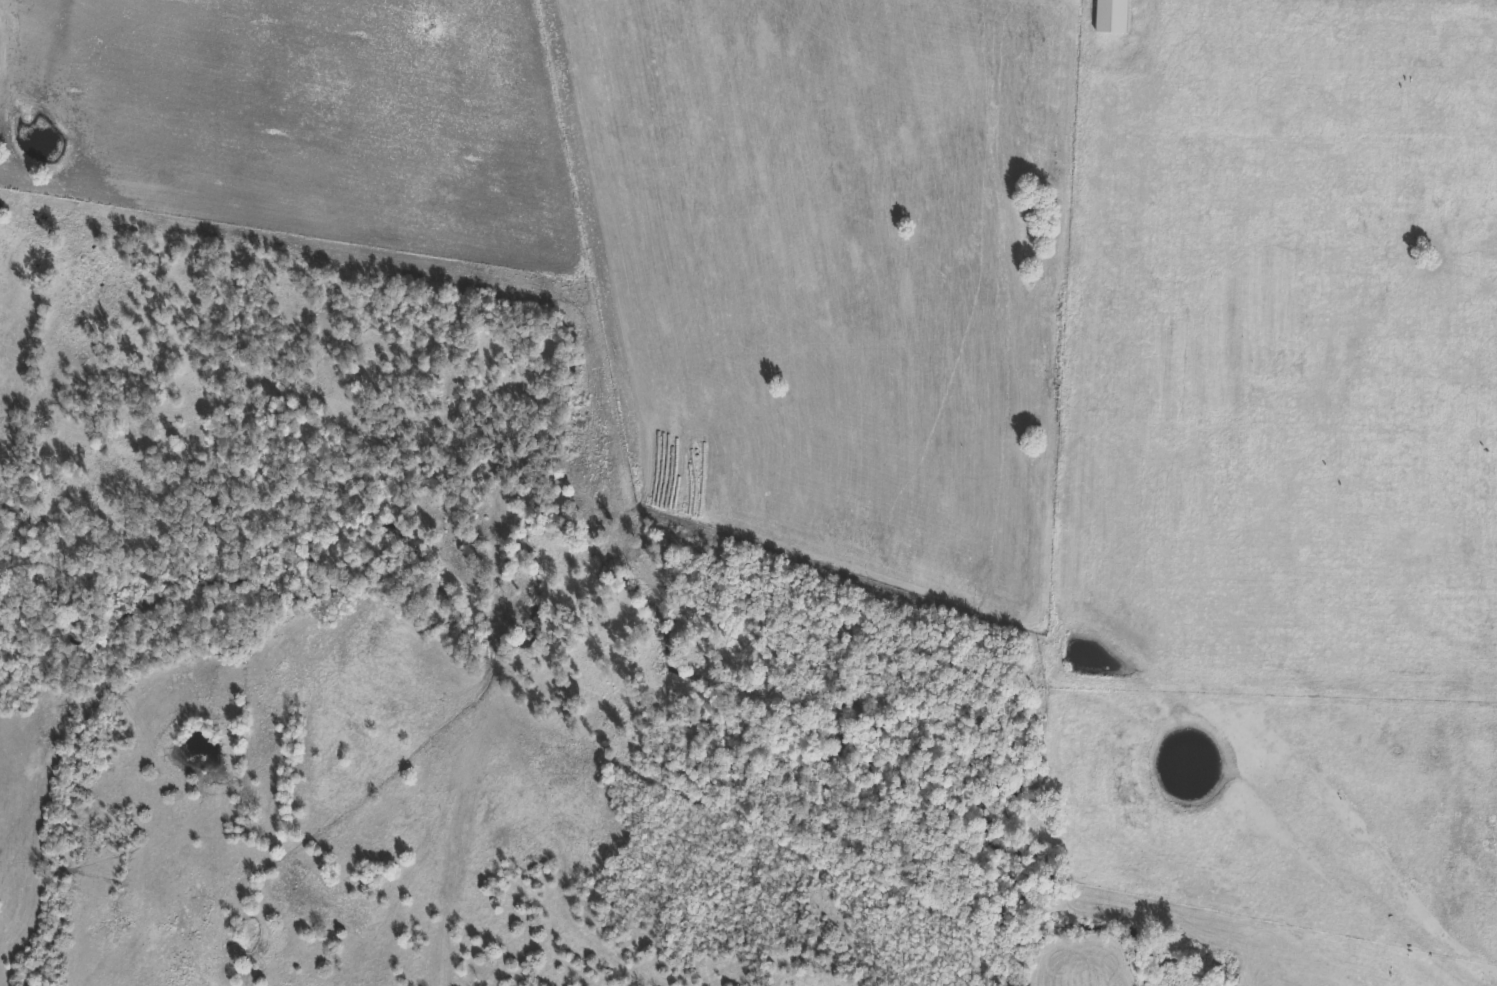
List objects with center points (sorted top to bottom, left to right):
building: (1113, 16)
building: (1399, 269)

